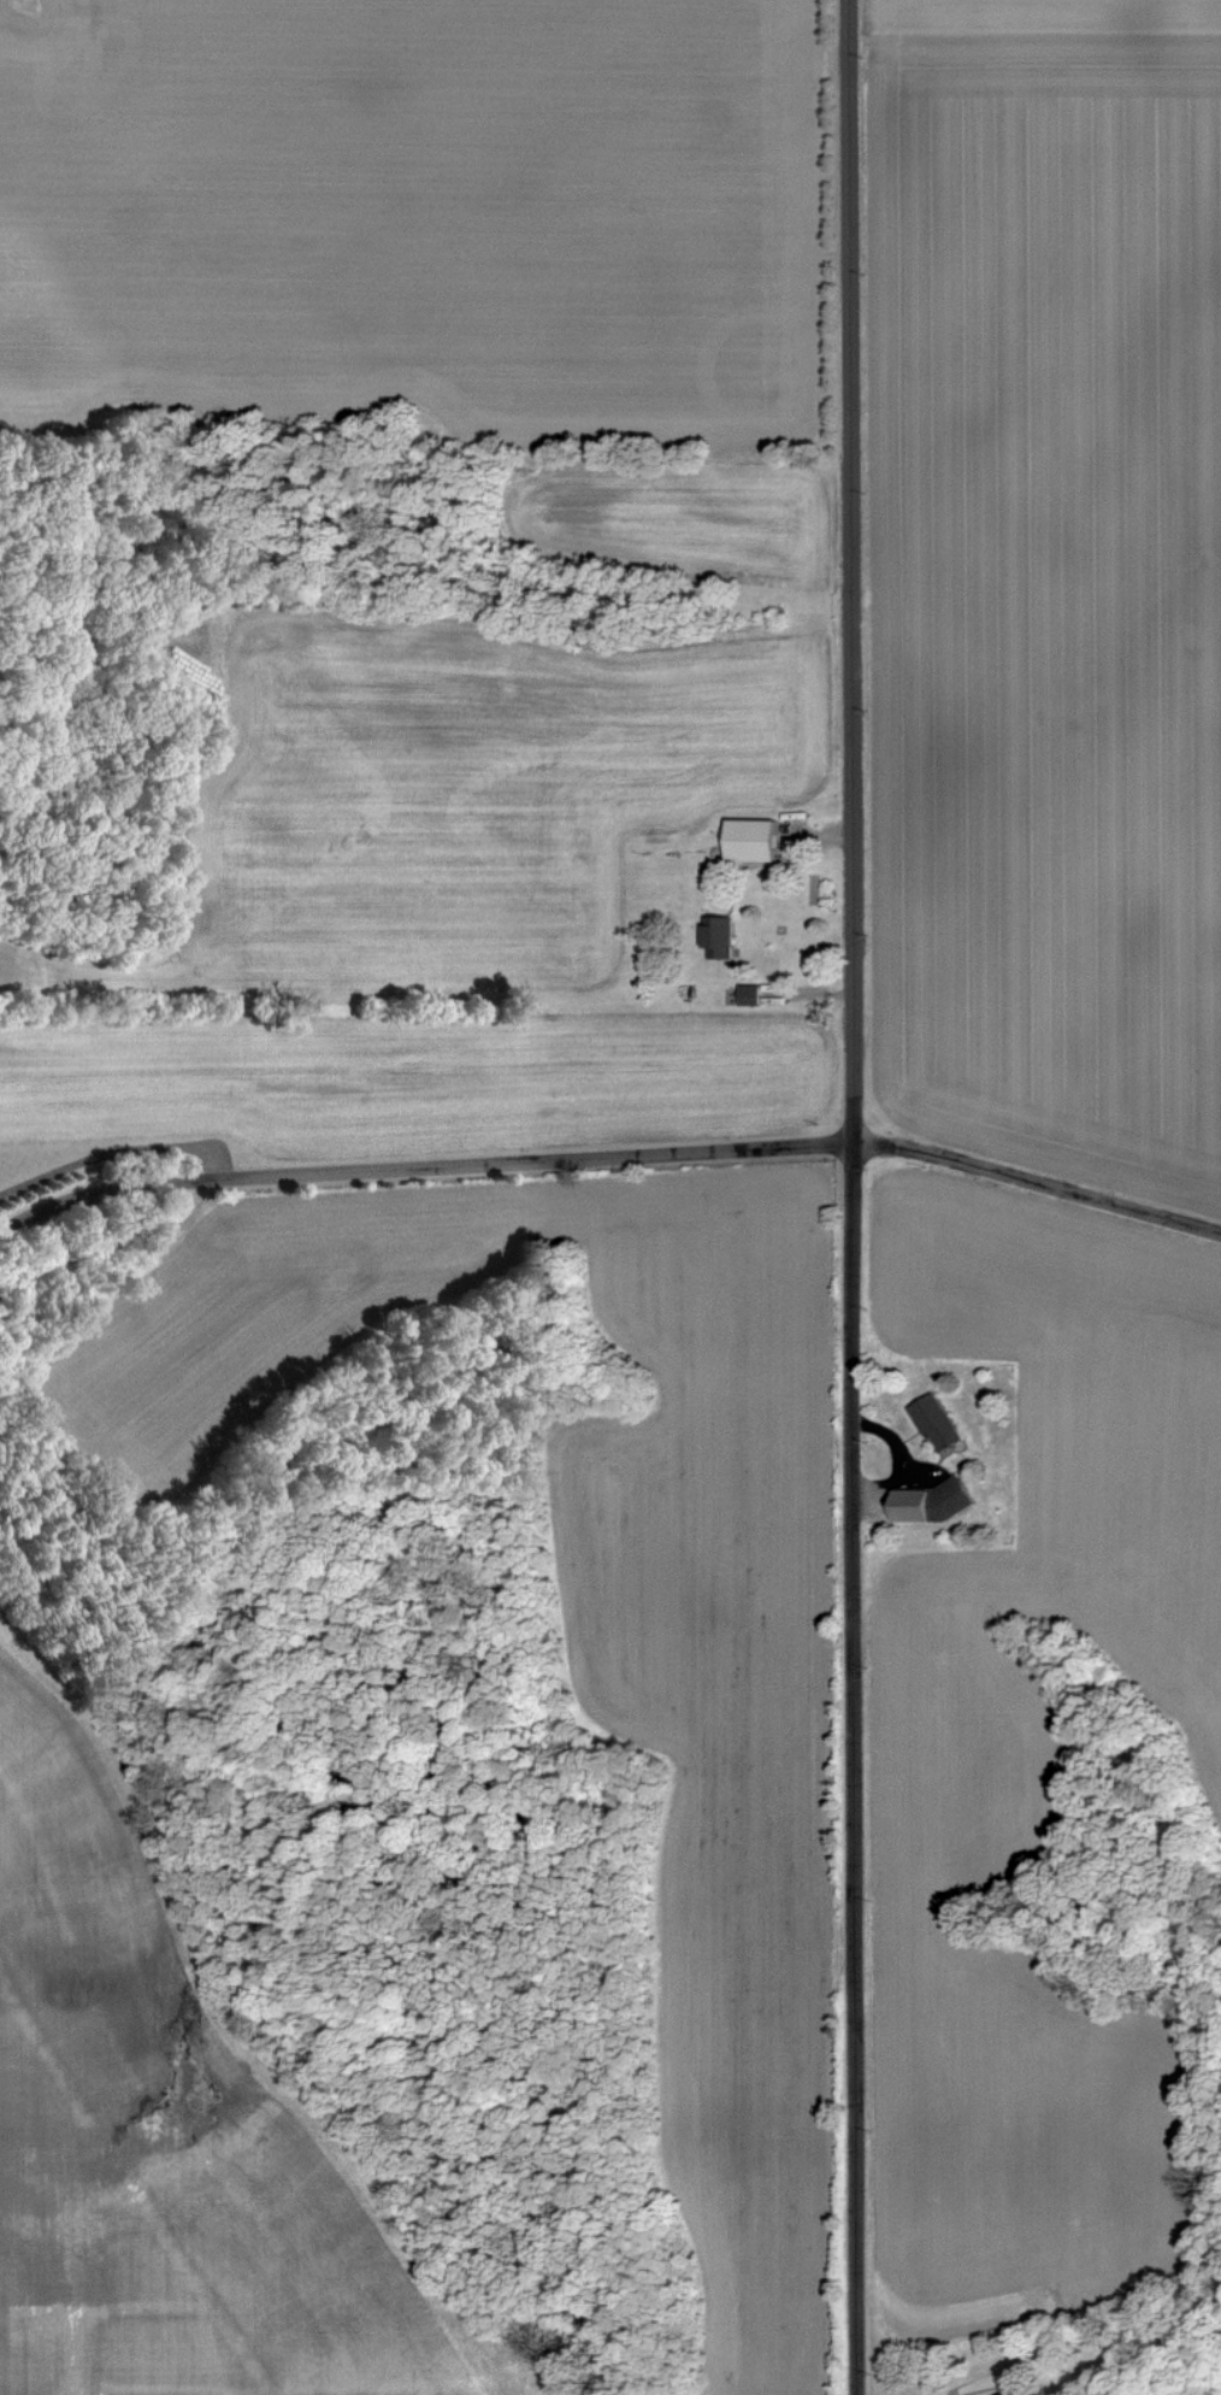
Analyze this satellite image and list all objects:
building: (749, 841)
building: (716, 936)
building: (747, 995)
road: (122, 1153)
road: (421, 1176)
road: (1038, 1188)
road: (854, 1197)
building: (933, 1422)
building: (931, 1500)
road: (986, 2394)

